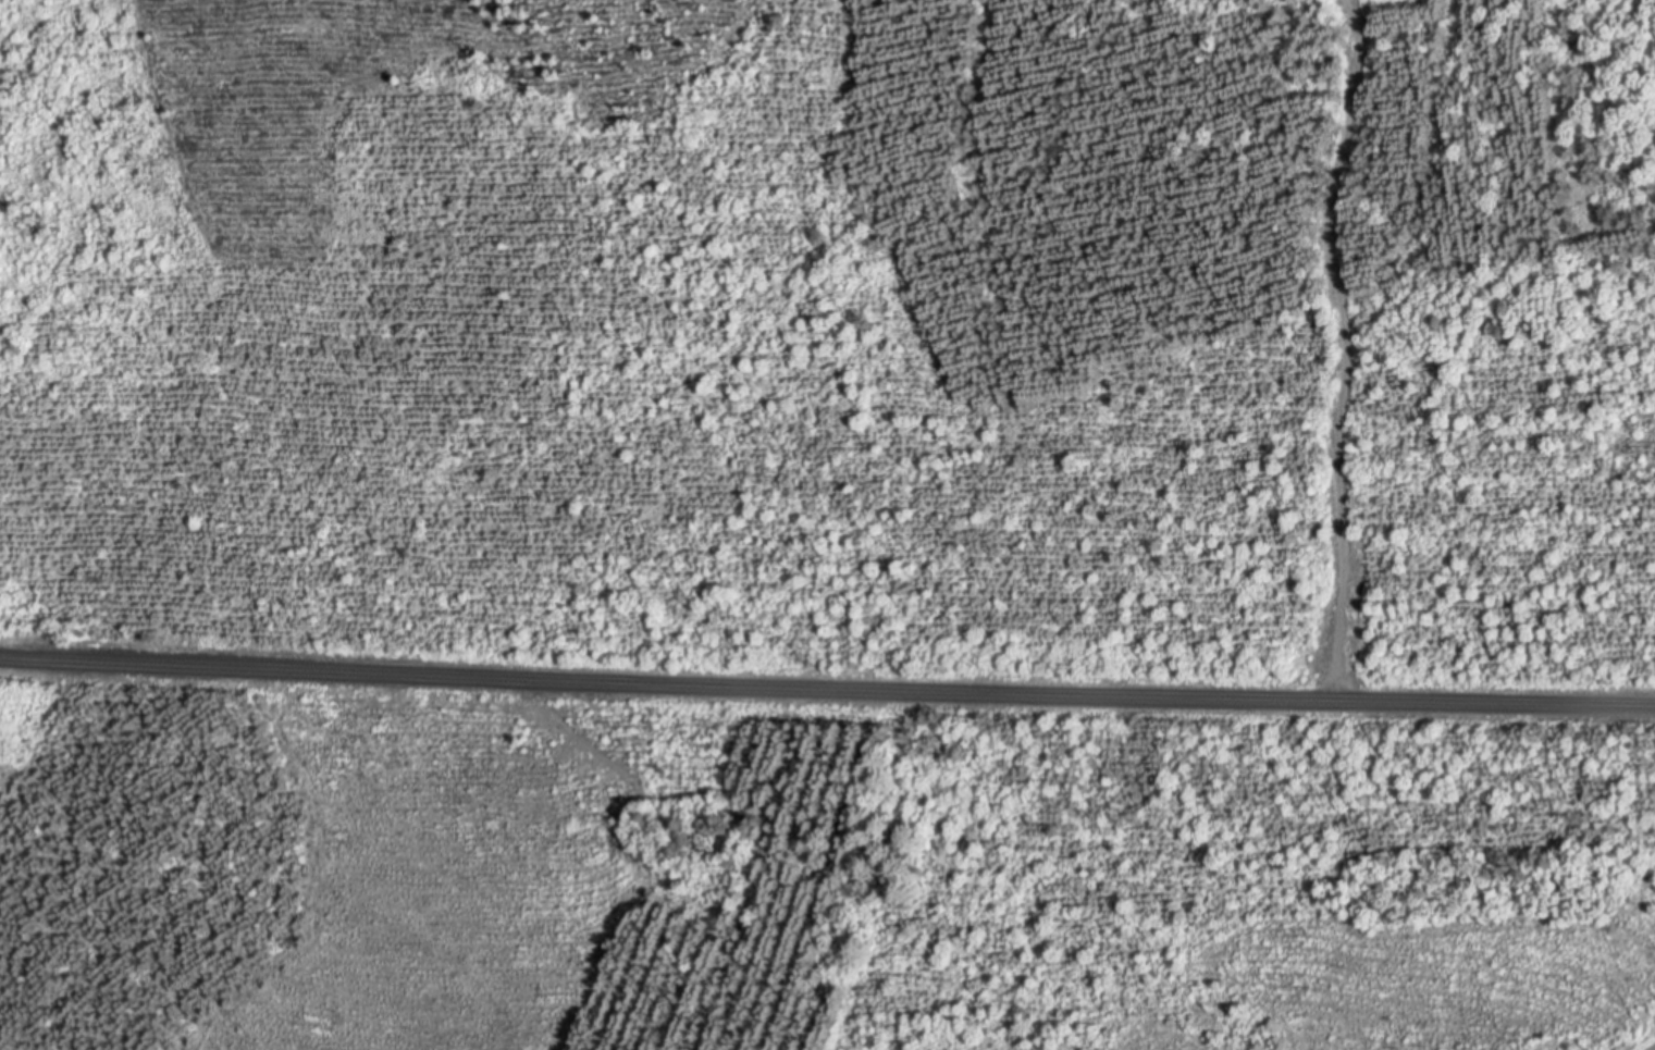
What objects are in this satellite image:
road: (827, 693)

